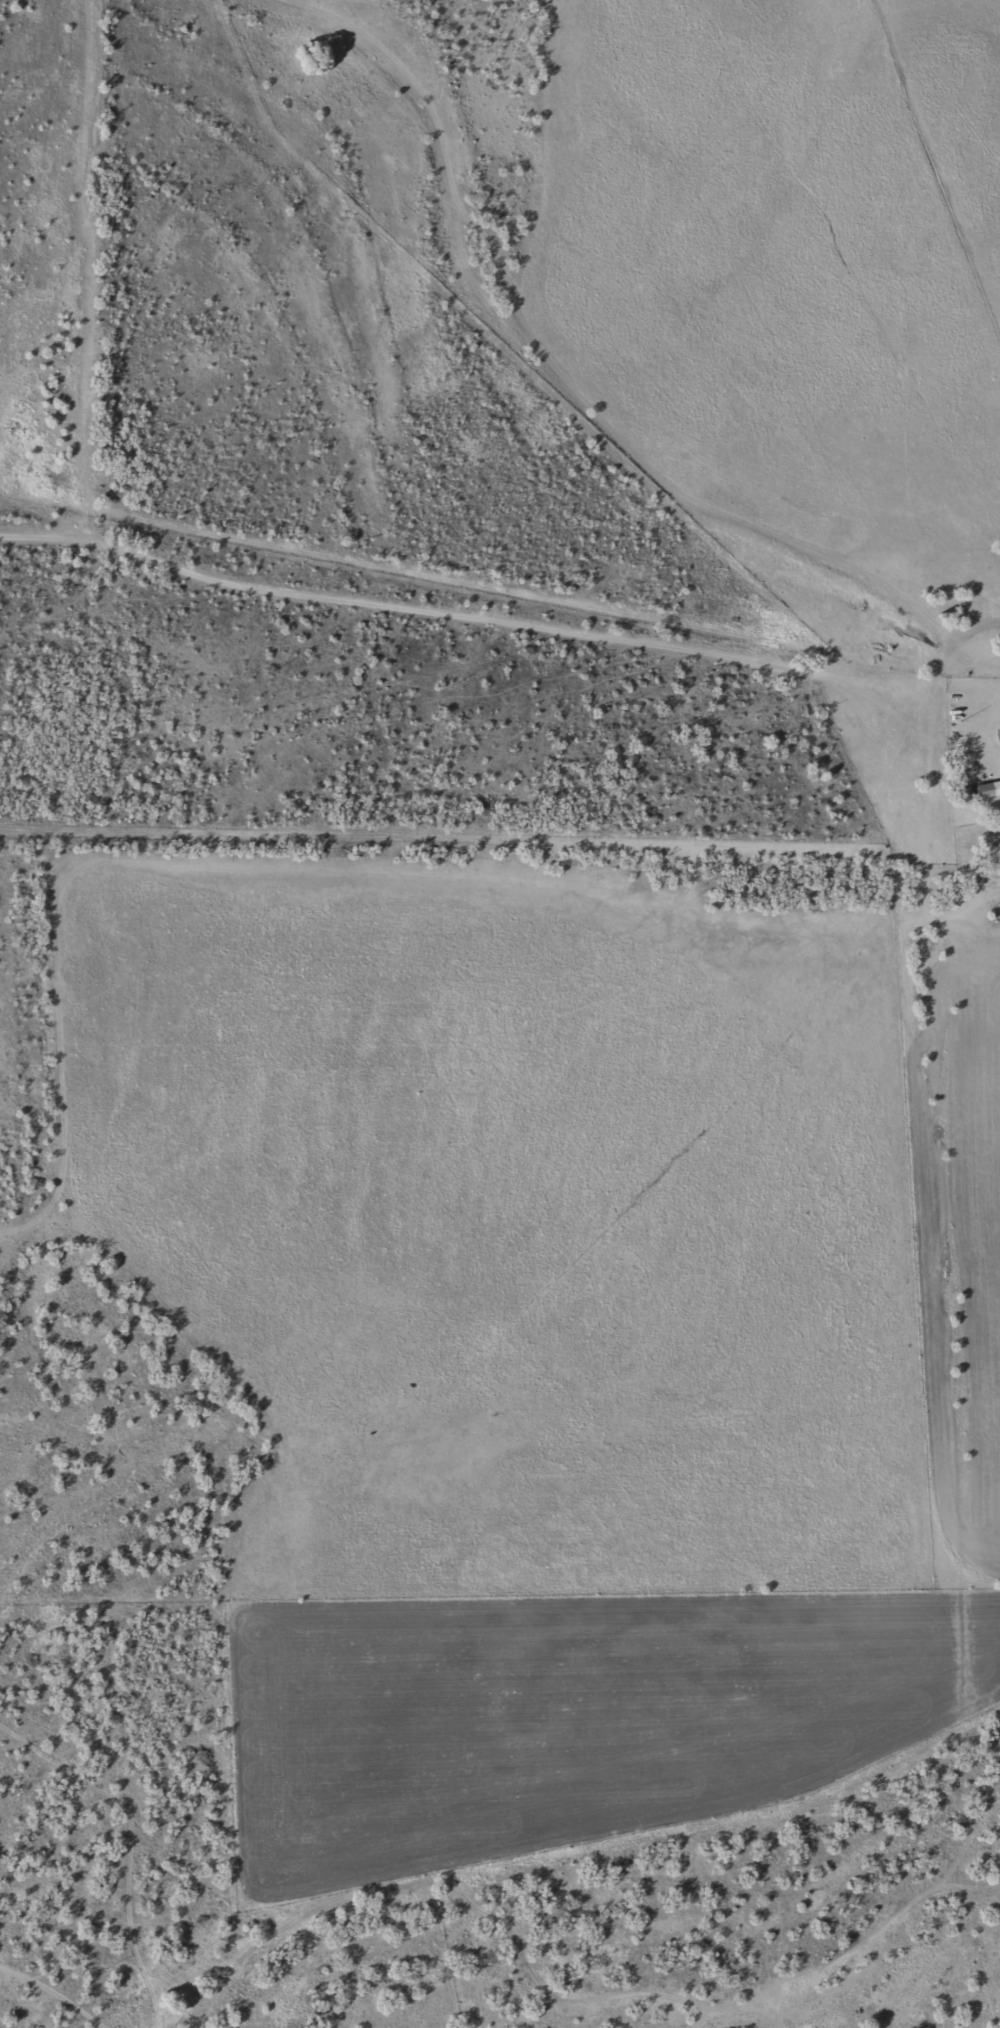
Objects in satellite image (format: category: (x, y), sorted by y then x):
road: (509, 624)
building: (986, 790)

